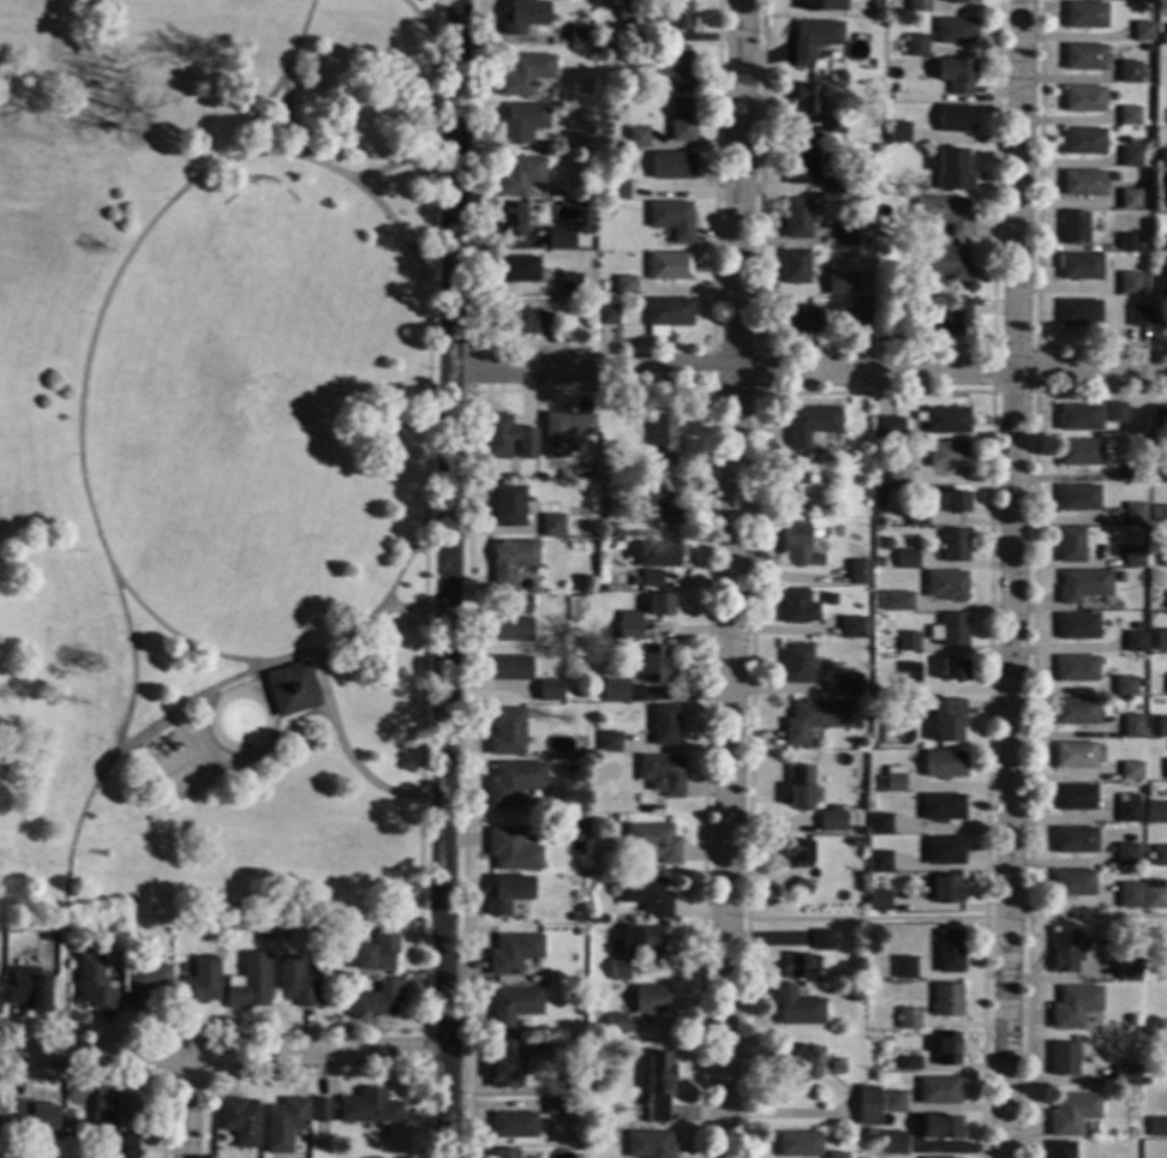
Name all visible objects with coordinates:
building: (1139, 0)
building: (963, 1)
building: (1166, 1)
building: (822, 5)
building: (918, 5)
building: (876, 7)
building: (624, 11)
building: (634, 12)
building: (596, 13)
road: (418, 14)
building: (680, 16)
building: (1087, 16)
building: (523, 17)
building: (848, 28)
building: (956, 31)
building: (1143, 31)
building: (579, 37)
building: (814, 37)
building: (1162, 38)
building: (916, 46)
building: (1084, 58)
building: (674, 70)
building: (525, 73)
building: (958, 76)
building: (1129, 76)
road: (270, 91)
building: (890, 96)
building: (808, 100)
building: (1084, 100)
building: (1130, 116)
building: (953, 119)
building: (682, 121)
building: (522, 122)
building: (836, 124)
building: (898, 132)
building: (638, 138)
building: (1084, 142)
building: (1131, 157)
building: (1163, 158)
building: (1155, 164)
building: (671, 166)
road: (331, 167)
building: (802, 167)
building: (953, 170)
building: (520, 176)
building: (1114, 176)
building: (1084, 184)
building: (833, 186)
building: (617, 190)
building: (1130, 200)
building: (1165, 200)
building: (945, 215)
building: (1159, 217)
building: (797, 218)
building: (511, 220)
building: (672, 220)
building: (1076, 229)
building: (848, 234)
road: (1037, 238)
building: (561, 240)
building: (1129, 242)
building: (1162, 244)
building: (867, 260)
building: (946, 263)
building: (670, 266)
building: (795, 266)
building: (1082, 268)
building: (517, 269)
building: (1130, 283)
building: (570, 284)
building: (624, 284)
building: (1161, 284)
building: (818, 287)
park: (269, 294)
building: (568, 301)
building: (860, 307)
building: (669, 312)
building: (1081, 313)
building: (608, 314)
building: (1138, 317)
building: (1160, 317)
building: (803, 319)
building: (946, 319)
building: (525, 322)
road: (590, 347)
road: (873, 348)
road: (471, 370)
road: (808, 372)
road: (591, 390)
road: (1035, 391)
road: (873, 392)
road: (755, 394)
building: (1117, 413)
building: (1160, 416)
building: (1081, 418)
building: (945, 420)
building: (810, 426)
building: (891, 428)
building: (564, 432)
building: (507, 438)
building: (663, 440)
building: (1157, 443)
road: (79, 450)
building: (1079, 452)
building: (948, 455)
building: (1135, 470)
building: (1166, 473)
building: (892, 475)
building: (806, 480)
park: (217, 487)
building: (1079, 498)
building: (657, 502)
building: (951, 503)
building: (509, 506)
building: (837, 511)
road: (424, 515)
building: (1136, 515)
building: (1159, 515)
building: (917, 517)
building: (552, 527)
building: (608, 529)
building: (815, 534)
building: (885, 544)
building: (1072, 544)
building: (797, 546)
building: (954, 546)
building: (656, 553)
building: (1163, 556)
building: (1133, 557)
building: (906, 559)
building: (511, 562)
building: (860, 572)
road: (448, 578)
building: (651, 578)
road: (731, 578)
road: (1012, 578)
building: (946, 586)
building: (1083, 586)
building: (602, 589)
building: (1166, 598)
building: (896, 602)
building: (521, 605)
building: (660, 605)
building: (797, 607)
building: (630, 625)
building: (851, 626)
building: (1077, 626)
building: (511, 629)
building: (950, 629)
building: (1160, 641)
building: (908, 642)
building: (1135, 642)
road: (269, 659)
building: (797, 664)
building: (656, 665)
building: (511, 668)
building: (953, 668)
building: (1076, 670)
road: (323, 674)
building: (909, 678)
building: (850, 684)
building: (1125, 686)
building: (293, 689)
building: (616, 689)
building: (550, 691)
building: (876, 691)
road: (181, 704)
road: (1030, 709)
building: (1076, 712)
building: (809, 720)
building: (947, 720)
building: (665, 726)
building: (1131, 726)
building: (1161, 727)
building: (509, 731)
building: (610, 743)
building: (1075, 756)
building: (944, 764)
building: (573, 769)
building: (1166, 769)
building: (1131, 770)
building: (662, 774)
building: (892, 780)
building: (515, 782)
building: (801, 786)
building: (1075, 798)
building: (942, 808)
building: (1126, 812)
building: (1156, 814)
building: (615, 820)
building: (832, 820)
building: (880, 824)
building: (1075, 840)
building: (654, 842)
building: (944, 851)
building: (513, 852)
building: (797, 854)
building: (1126, 854)
building: (1160, 857)
building: (880, 862)
building: (1073, 883)
building: (801, 889)
building: (946, 889)
building: (507, 894)
building: (1130, 895)
building: (1154, 895)
building: (647, 896)
building: (880, 901)
building: (561, 908)
road: (1097, 916)
road: (1005, 917)
building: (577, 918)
building: (598, 918)
road: (864, 919)
building: (285, 932)
road: (764, 940)
building: (824, 940)
building: (635, 947)
building: (1064, 952)
building: (378, 953)
building: (950, 953)
building: (513, 954)
building: (800, 968)
building: (905, 968)
building: (1109, 970)
building: (1157, 973)
building: (1166, 973)
building: (861, 974)
building: (1124, 974)
building: (571, 980)
building: (581, 980)
building: (295, 983)
building: (95, 984)
building: (145, 984)
building: (201, 984)
building: (249, 986)
building: (29, 989)
building: (580, 992)
building: (651, 1000)
building: (947, 1001)
building: (376, 1002)
building: (514, 1007)
building: (797, 1007)
building: (1075, 1007)
building: (910, 1020)
building: (616, 1024)
road: (313, 1031)
road: (101, 1032)
building: (1087, 1046)
building: (947, 1049)
road: (425, 1052)
road: (223, 1057)
building: (1064, 1060)
building: (504, 1063)
building: (800, 1063)
building: (910, 1064)
building: (839, 1067)
road: (205, 1075)
road: (316, 1075)
building: (1124, 1075)
road: (82, 1078)
building: (580, 1081)
building: (658, 1087)
building: (939, 1091)
building: (893, 1102)
building: (118, 1105)
building: (552, 1105)
building: (868, 1105)
road: (186, 1108)
building: (369, 1109)
building: (321, 1110)
building: (1072, 1114)
building: (32, 1117)
building: (68, 1121)
building: (239, 1122)
building: (579, 1122)
building: (285, 1123)
building: (513, 1126)
building: (1157, 1127)
building: (940, 1128)
building: (68, 1138)
building: (591, 1142)
building: (894, 1144)
building: (650, 1145)
building: (798, 1145)
building: (120, 1146)
building: (1061, 1150)
building: (504, 1154)
building: (836, 1156)
building: (940, 1157)

